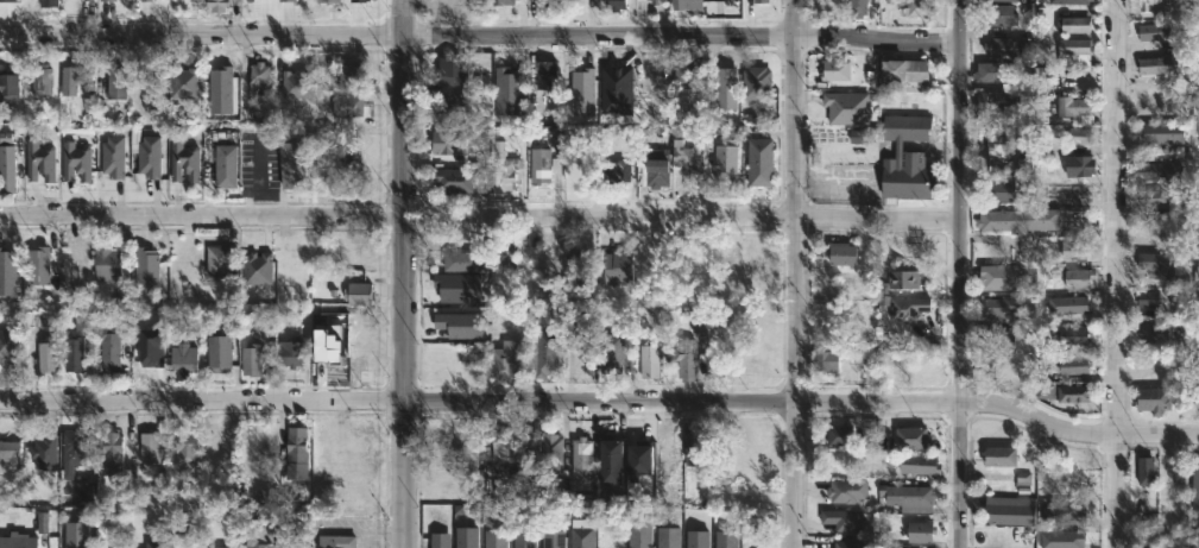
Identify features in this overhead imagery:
building: (113, 0)
building: (153, 0)
building: (194, 0)
building: (360, 0)
building: (570, 0)
building: (996, 0)
building: (285, 1)
building: (326, 1)
building: (1075, 1)
building: (496, 2)
building: (654, 2)
building: (758, 2)
building: (44, 4)
building: (547, 4)
building: (215, 5)
building: (612, 5)
building: (686, 6)
building: (1153, 6)
building: (857, 7)
building: (916, 8)
building: (1198, 8)
building: (996, 17)
building: (1075, 25)
building: (1153, 32)
road: (481, 34)
building: (1073, 45)
building: (1026, 46)
building: (1002, 48)
building: (1153, 65)
building: (903, 69)
building: (835, 70)
building: (1198, 70)
building: (995, 73)
building: (545, 74)
building: (258, 75)
building: (349, 76)
building: (447, 76)
building: (1040, 76)
building: (684, 77)
building: (72, 80)
building: (39, 81)
building: (512, 81)
building: (755, 81)
building: (115, 82)
building: (183, 83)
building: (219, 84)
building: (294, 84)
building: (8, 88)
building: (725, 88)
building: (616, 89)
building: (583, 90)
building: (996, 100)
building: (346, 106)
building: (846, 106)
building: (1075, 109)
building: (453, 113)
building: (1163, 132)
building: (862, 136)
building: (1079, 137)
building: (448, 141)
building: (688, 155)
building: (112, 157)
building: (147, 157)
building: (905, 158)
building: (725, 160)
building: (39, 162)
building: (74, 163)
building: (182, 163)
building: (758, 163)
building: (291, 164)
building: (352, 164)
building: (538, 164)
building: (223, 166)
building: (1078, 166)
building: (503, 168)
building: (616, 168)
building: (6, 169)
building: (655, 169)
building: (1153, 170)
building: (455, 181)
building: (999, 190)
building: (1061, 196)
building: (1153, 197)
road: (480, 215)
building: (1017, 221)
building: (1154, 229)
building: (1195, 242)
building: (1074, 250)
building: (856, 259)
building: (217, 260)
building: (457, 260)
building: (105, 262)
building: (36, 265)
building: (143, 265)
building: (617, 265)
building: (580, 266)
building: (255, 267)
building: (7, 270)
building: (1161, 270)
road: (405, 273)
road: (794, 273)
road: (961, 273)
road: (1119, 273)
building: (999, 276)
building: (1075, 276)
building: (902, 278)
building: (460, 286)
building: (356, 292)
building: (1148, 300)
building: (1069, 306)
building: (907, 307)
building: (997, 309)
building: (461, 325)
building: (1153, 332)
building: (1073, 335)
building: (997, 336)
building: (8, 345)
building: (111, 347)
building: (719, 349)
building: (755, 351)
building: (289, 352)
building: (542, 352)
building: (71, 353)
building: (217, 353)
building: (612, 353)
building: (46, 355)
building: (182, 357)
building: (251, 358)
building: (686, 358)
building: (506, 359)
building: (825, 359)
building: (649, 360)
building: (1074, 364)
building: (1161, 369)
building: (1046, 390)
building: (1074, 393)
building: (1153, 399)
road: (601, 403)
building: (446, 429)
building: (839, 435)
building: (911, 437)
building: (505, 443)
building: (184, 446)
building: (71, 447)
building: (147, 447)
building: (693, 447)
building: (8, 452)
building: (43, 452)
building: (109, 452)
building: (295, 452)
building: (551, 455)
building: (668, 455)
building: (999, 455)
building: (642, 459)
building: (610, 460)
building: (581, 464)
building: (919, 464)
building: (1146, 471)
building: (1195, 486)
building: (448, 491)
building: (846, 491)
building: (916, 499)
building: (1009, 509)
building: (1064, 512)
building: (843, 519)
building: (920, 530)
building: (639, 533)
building: (72, 534)
building: (580, 536)
building: (258, 537)
building: (466, 537)
building: (667, 537)
building: (496, 538)
building: (524, 538)
building: (553, 538)
building: (696, 538)
building: (1073, 538)
building: (725, 540)
building: (17, 541)
building: (335, 541)
building: (438, 541)
building: (153, 543)
building: (856, 543)
building: (216, 547)

